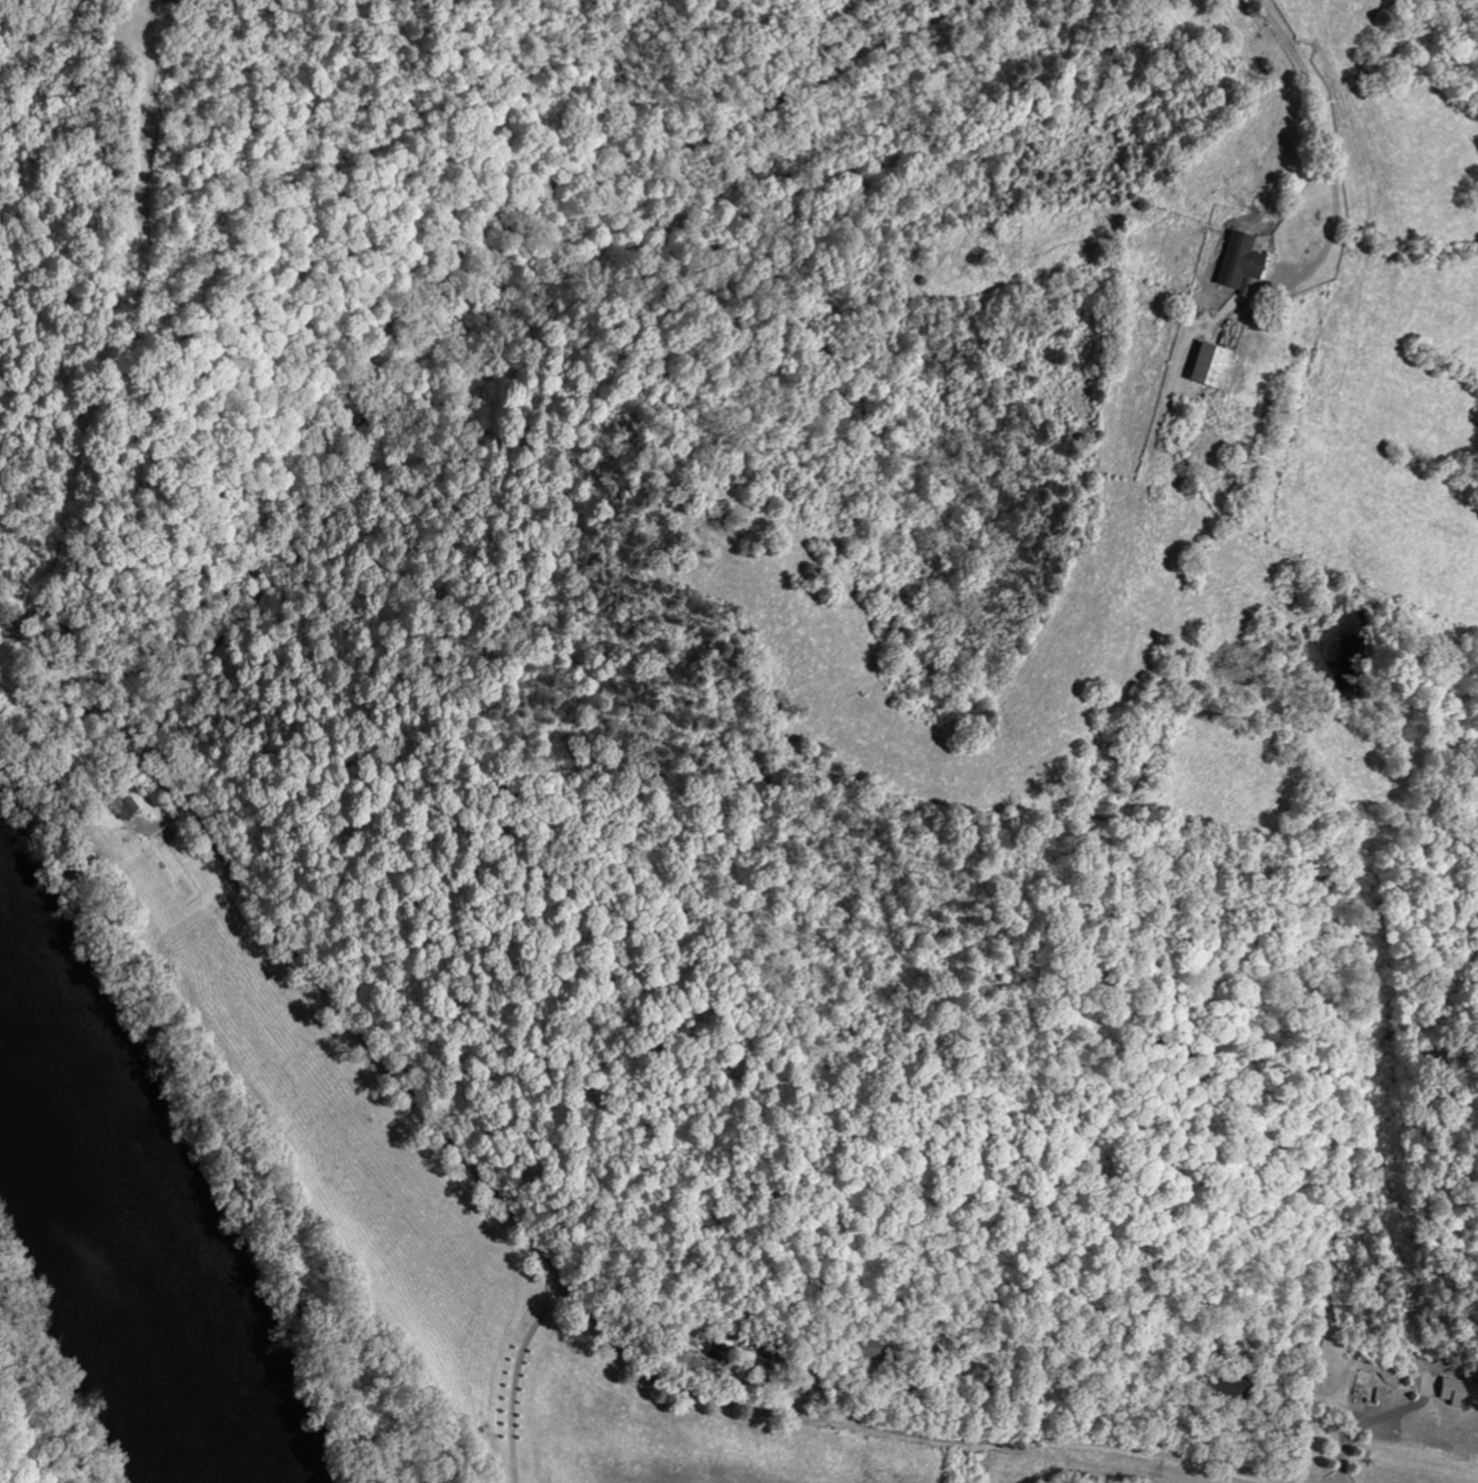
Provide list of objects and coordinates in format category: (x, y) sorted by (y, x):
road: (1326, 140)
building: (1239, 262)
road: (438, 271)
building: (1211, 368)
building: (125, 808)
river: (116, 1250)
road: (540, 1253)
building: (871, 1348)
road: (516, 1376)
building: (1234, 1384)
building: (1458, 1395)
road: (1370, 1421)
road: (997, 1461)

